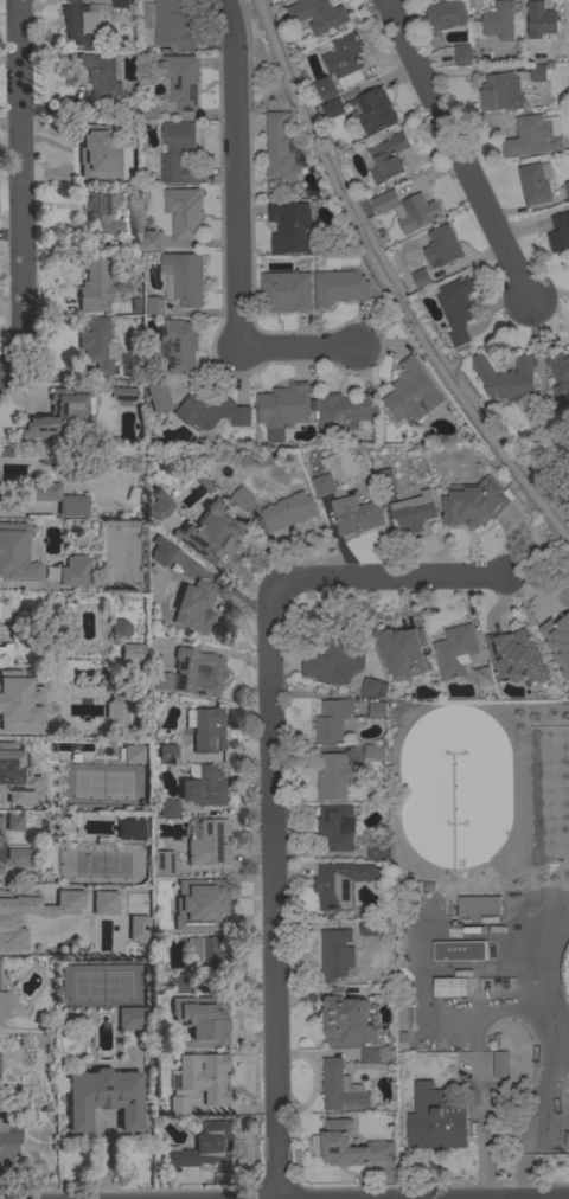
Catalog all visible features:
building: (121, 2)
building: (568, 6)
building: (318, 14)
building: (446, 14)
building: (541, 19)
building: (499, 20)
building: (81, 24)
building: (173, 25)
building: (462, 53)
building: (345, 59)
building: (537, 72)
building: (101, 76)
building: (181, 79)
building: (324, 86)
building: (501, 91)
building: (149, 108)
building: (333, 108)
building: (375, 110)
building: (531, 136)
building: (90, 150)
building: (281, 152)
road: (455, 152)
building: (179, 154)
building: (388, 156)
building: (535, 181)
building: (567, 187)
road: (19, 191)
building: (385, 201)
building: (101, 211)
building: (184, 212)
building: (417, 213)
building: (293, 227)
building: (560, 232)
road: (238, 233)
building: (152, 239)
building: (441, 246)
building: (568, 262)
building: (185, 276)
building: (418, 278)
building: (96, 282)
building: (340, 287)
building: (286, 291)
building: (153, 306)
building: (456, 308)
building: (97, 345)
building: (179, 345)
building: (506, 376)
building: (560, 379)
building: (413, 392)
building: (123, 395)
building: (156, 396)
building: (282, 408)
building: (210, 409)
building: (344, 410)
building: (62, 415)
building: (384, 477)
building: (322, 483)
building: (242, 496)
building: (57, 499)
building: (1, 502)
building: (474, 502)
building: (159, 507)
building: (288, 511)
building: (413, 511)
building: (354, 514)
building: (212, 533)
building: (161, 550)
building: (15, 553)
building: (75, 571)
building: (194, 605)
building: (556, 627)
building: (120, 629)
building: (454, 650)
building: (403, 652)
building: (5, 654)
building: (133, 654)
building: (516, 656)
building: (334, 658)
building: (197, 673)
building: (562, 675)
building: (482, 677)
building: (160, 681)
building: (373, 687)
building: (6, 710)
building: (377, 710)
building: (116, 712)
building: (332, 718)
building: (206, 729)
building: (165, 749)
building: (375, 751)
building: (106, 752)
building: (132, 755)
road: (270, 775)
building: (334, 775)
building: (18, 778)
building: (203, 786)
building: (454, 786)
storage tank: (454, 786)
building: (168, 808)
building: (14, 823)
building: (337, 826)
building: (128, 828)
building: (207, 842)
building: (378, 849)
building: (14, 855)
building: (162, 864)
building: (340, 883)
building: (203, 903)
building: (479, 904)
building: (106, 905)
building: (5, 925)
building: (171, 926)
building: (367, 926)
building: (139, 930)
building: (81, 940)
building: (459, 950)
building: (335, 954)
road: (530, 956)
building: (209, 957)
building: (565, 973)
storage tank: (565, 973)
building: (179, 986)
building: (449, 986)
building: (4, 1006)
building: (132, 1019)
building: (200, 1020)
building: (347, 1020)
building: (370, 1054)
building: (499, 1064)
road: (477, 1066)
building: (204, 1077)
building: (340, 1086)
building: (103, 1098)
building: (178, 1105)
building: (435, 1118)
building: (8, 1131)
building: (335, 1142)
building: (203, 1147)

